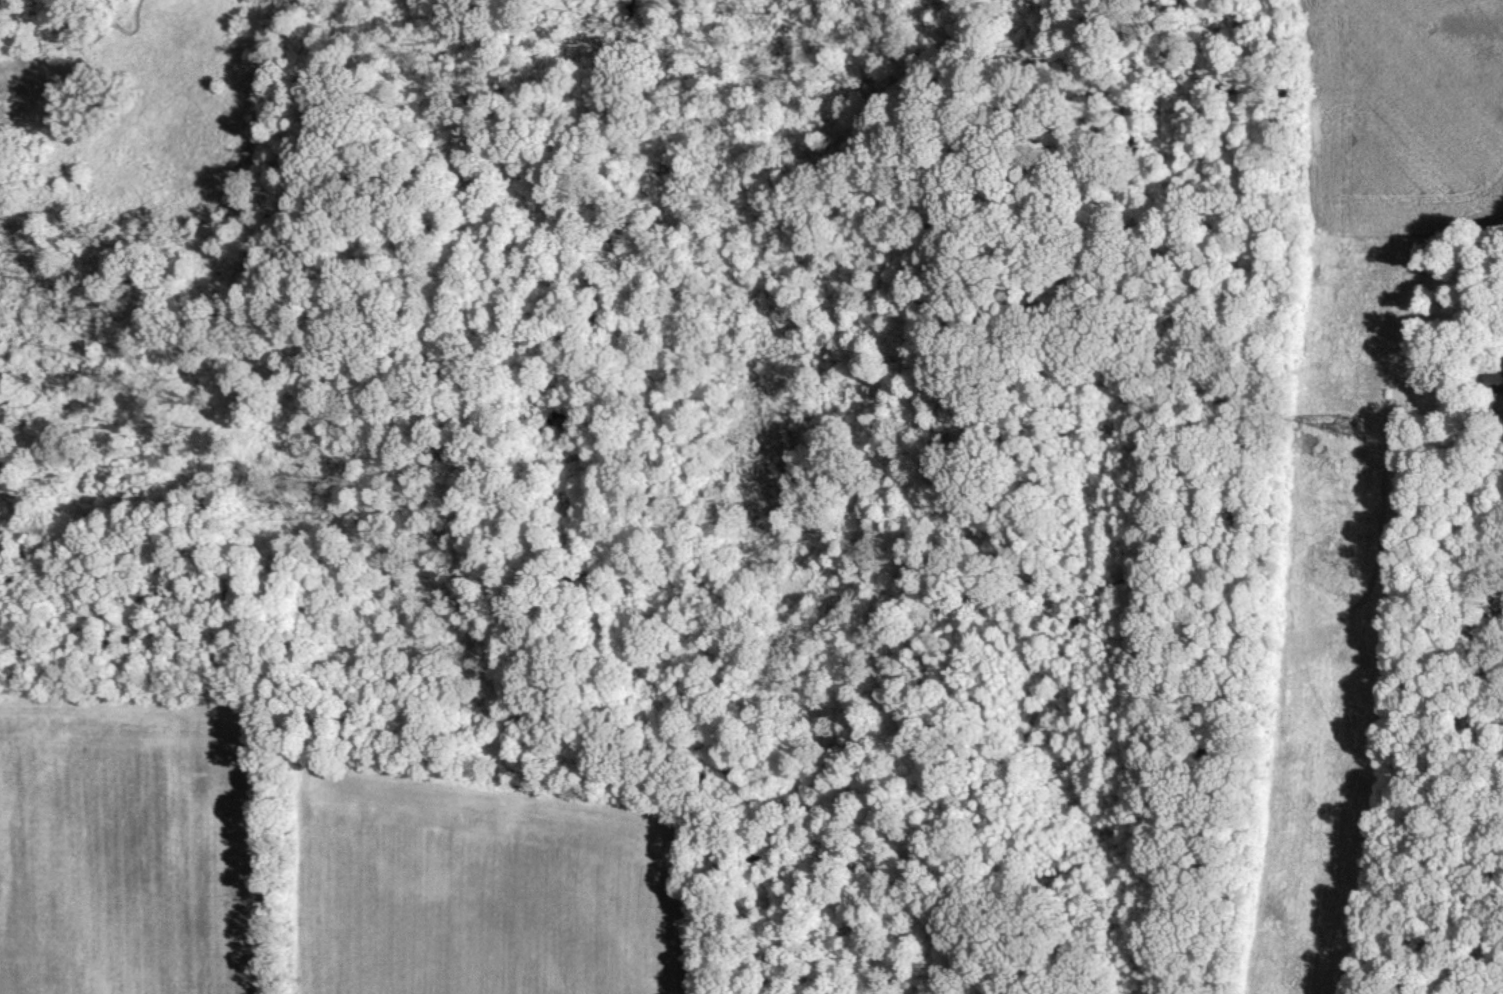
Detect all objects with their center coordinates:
power tower: (1352, 422)

